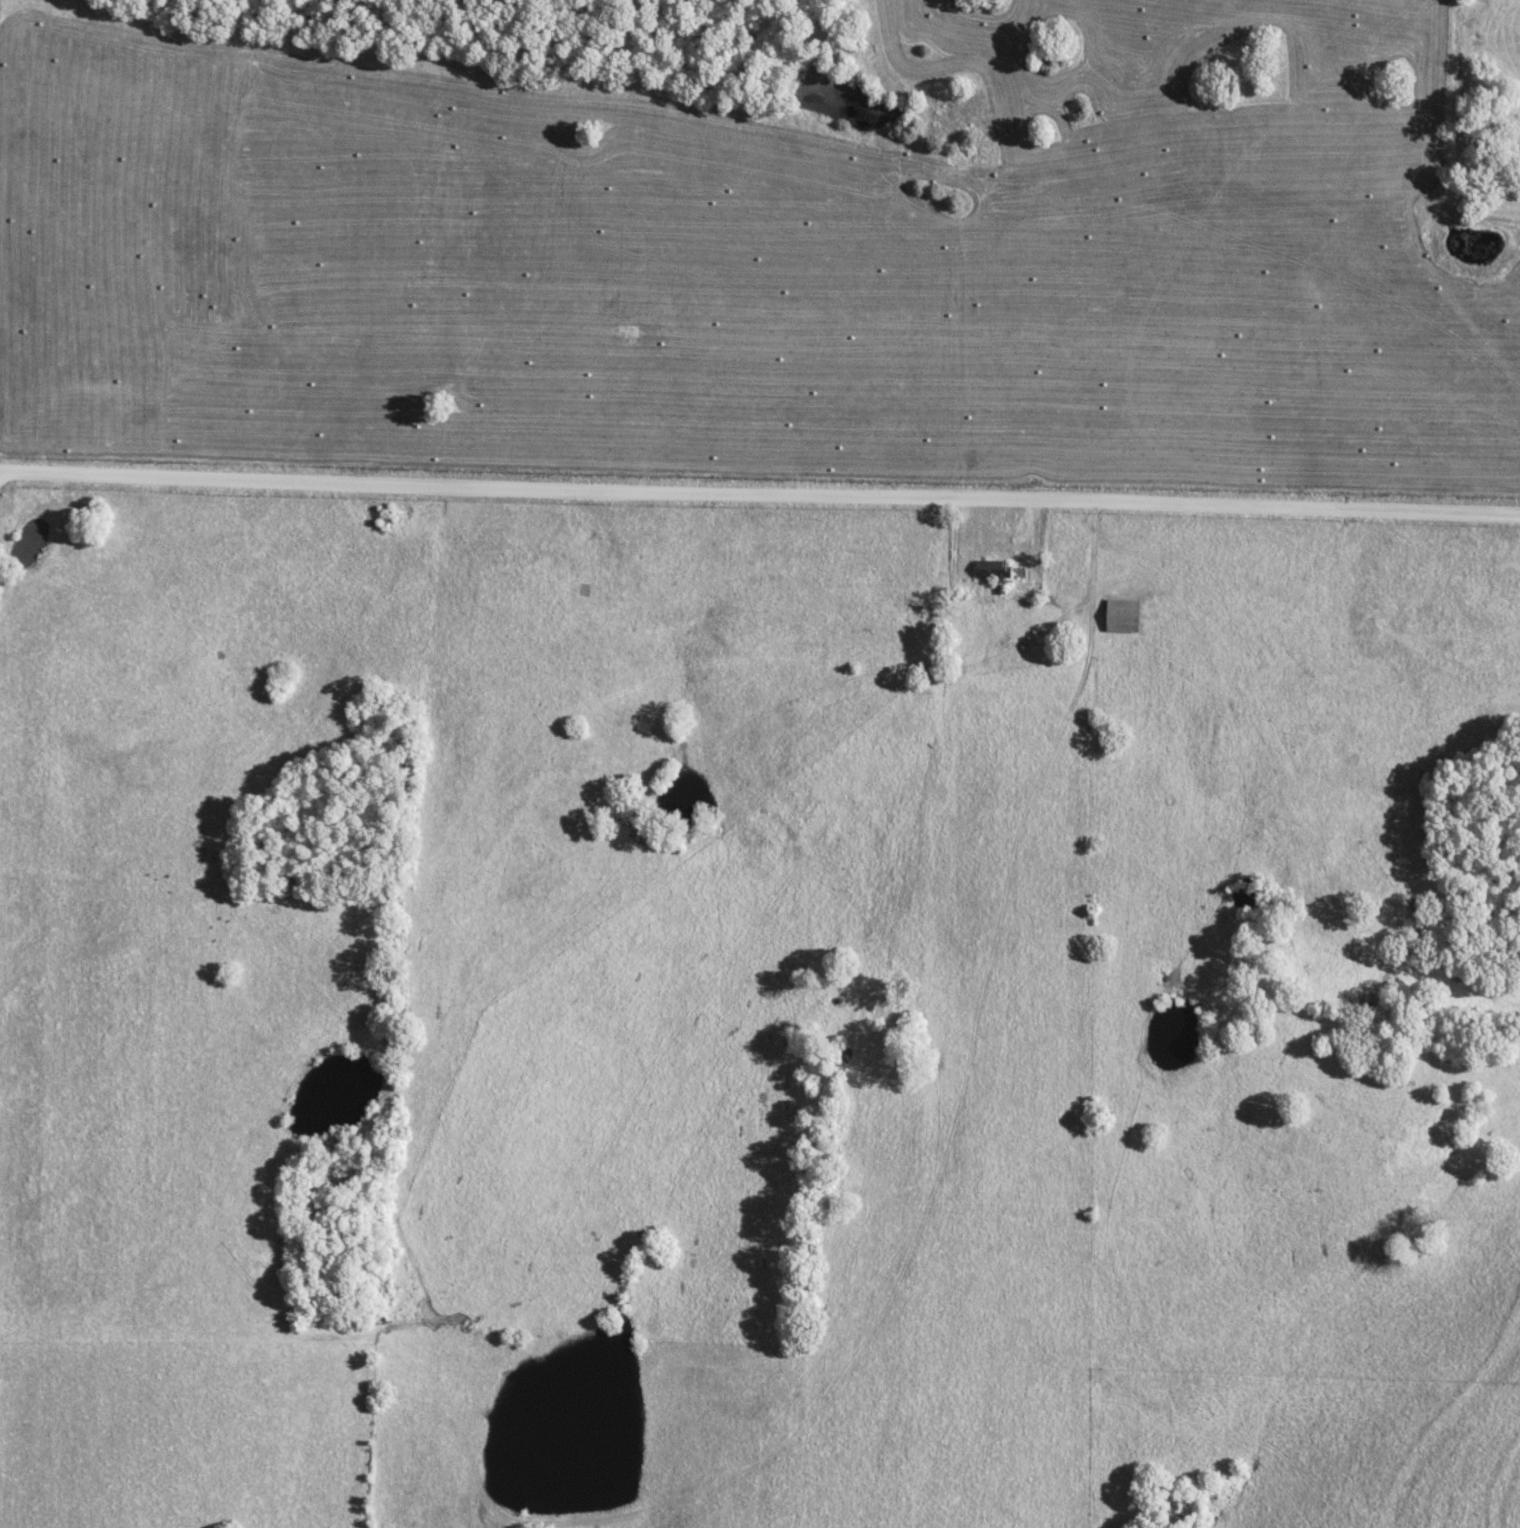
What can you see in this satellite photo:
road: (759, 496)
building: (993, 572)
building: (1122, 615)
road: (1080, 1211)

